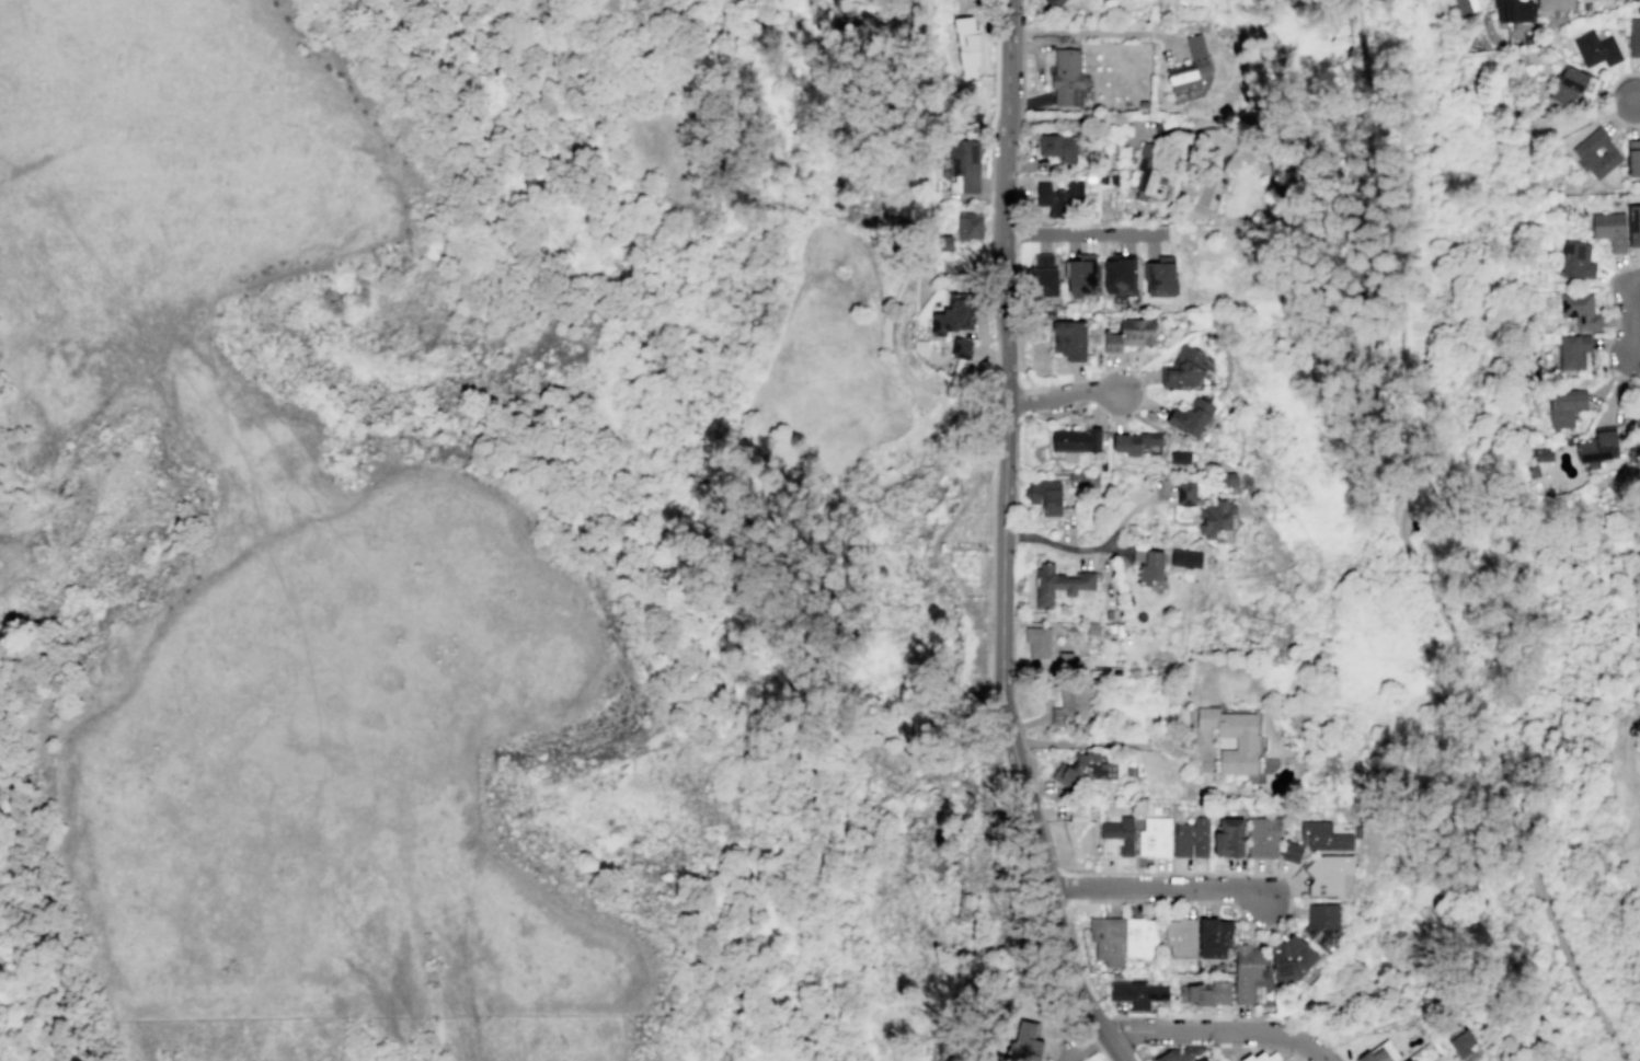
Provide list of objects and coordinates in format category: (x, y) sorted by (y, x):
building: (1106, 0)
building: (1054, 3)
building: (1553, 4)
building: (1465, 5)
building: (1513, 10)
road: (997, 21)
road: (1129, 22)
road: (1103, 33)
building: (1635, 36)
building: (966, 45)
building: (1595, 48)
building: (1189, 67)
road: (1039, 73)
building: (1066, 77)
building: (1568, 85)
road: (1636, 96)
road: (1036, 99)
road: (1607, 99)
building: (1058, 146)
building: (1584, 153)
building: (1632, 158)
building: (965, 166)
building: (1150, 174)
building: (1065, 199)
building: (1633, 224)
building: (971, 228)
building: (1609, 229)
road: (1082, 234)
building: (945, 243)
building: (1576, 261)
building: (1120, 274)
building: (1045, 275)
building: (1081, 277)
building: (1159, 277)
road: (1614, 310)
building: (1581, 311)
road: (1629, 311)
building: (954, 314)
building: (1129, 334)
building: (1069, 338)
building: (961, 347)
building: (1572, 350)
building: (1183, 367)
road: (1609, 374)
road: (1615, 376)
road: (1631, 378)
road: (1618, 385)
building: (1639, 392)
road: (1062, 395)
building: (1564, 405)
building: (1189, 416)
building: (1637, 420)
building: (1075, 441)
building: (1134, 442)
road: (1413, 443)
building: (1597, 448)
building: (1529, 451)
building: (1542, 454)
building: (1180, 457)
building: (1533, 471)
building: (1075, 478)
building: (1231, 482)
building: (1045, 498)
building: (1206, 510)
road: (1002, 524)
road: (1098, 546)
road: (1409, 549)
road: (991, 555)
building: (1185, 558)
building: (1148, 564)
building: (1059, 585)
building: (1092, 630)
building: (1039, 641)
building: (1068, 710)
road: (1112, 742)
building: (1246, 742)
building: (1085, 769)
building: (1080, 837)
building: (1116, 837)
building: (1155, 837)
building: (1229, 837)
building: (1192, 838)
building: (1262, 838)
building: (1316, 840)
building: (1329, 875)
road: (1163, 889)
building: (1323, 924)
building: (1139, 936)
building: (1181, 937)
building: (1214, 937)
building: (1106, 939)
building: (1292, 958)
building: (1248, 971)
building: (1308, 976)
building: (1139, 993)
building: (1201, 994)
road: (1166, 1016)
road: (1097, 1023)
road: (1191, 1030)
road: (1149, 1037)
building: (1027, 1040)
building: (1461, 1042)
road: (1229, 1043)
road: (1306, 1043)
road: (1112, 1047)
road: (1082, 1048)
building: (1172, 1056)
building: (1374, 1056)
building: (1261, 1057)
building: (1201, 1059)
building: (1408, 1059)

